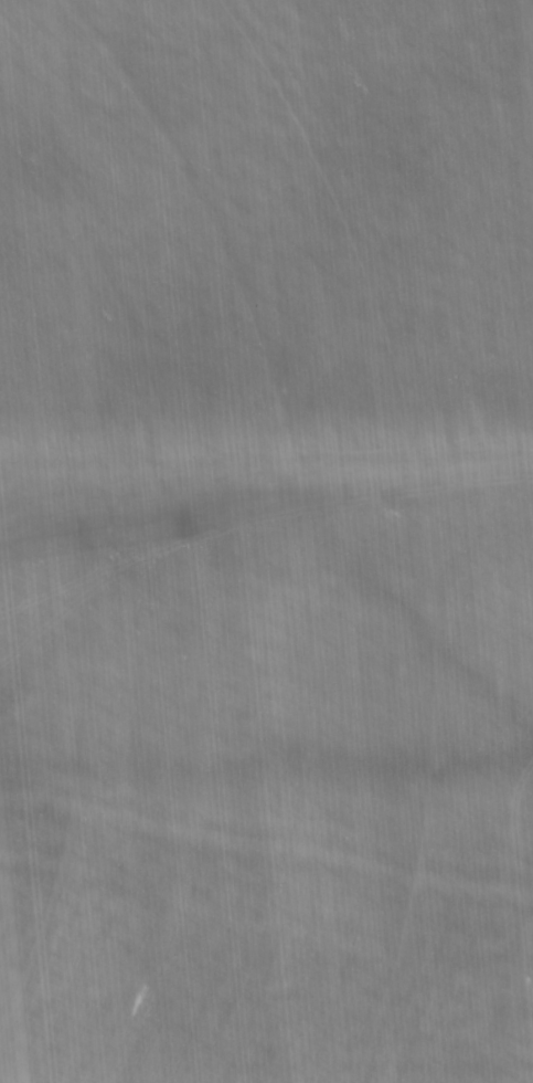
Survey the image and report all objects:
road: (266, 471)

